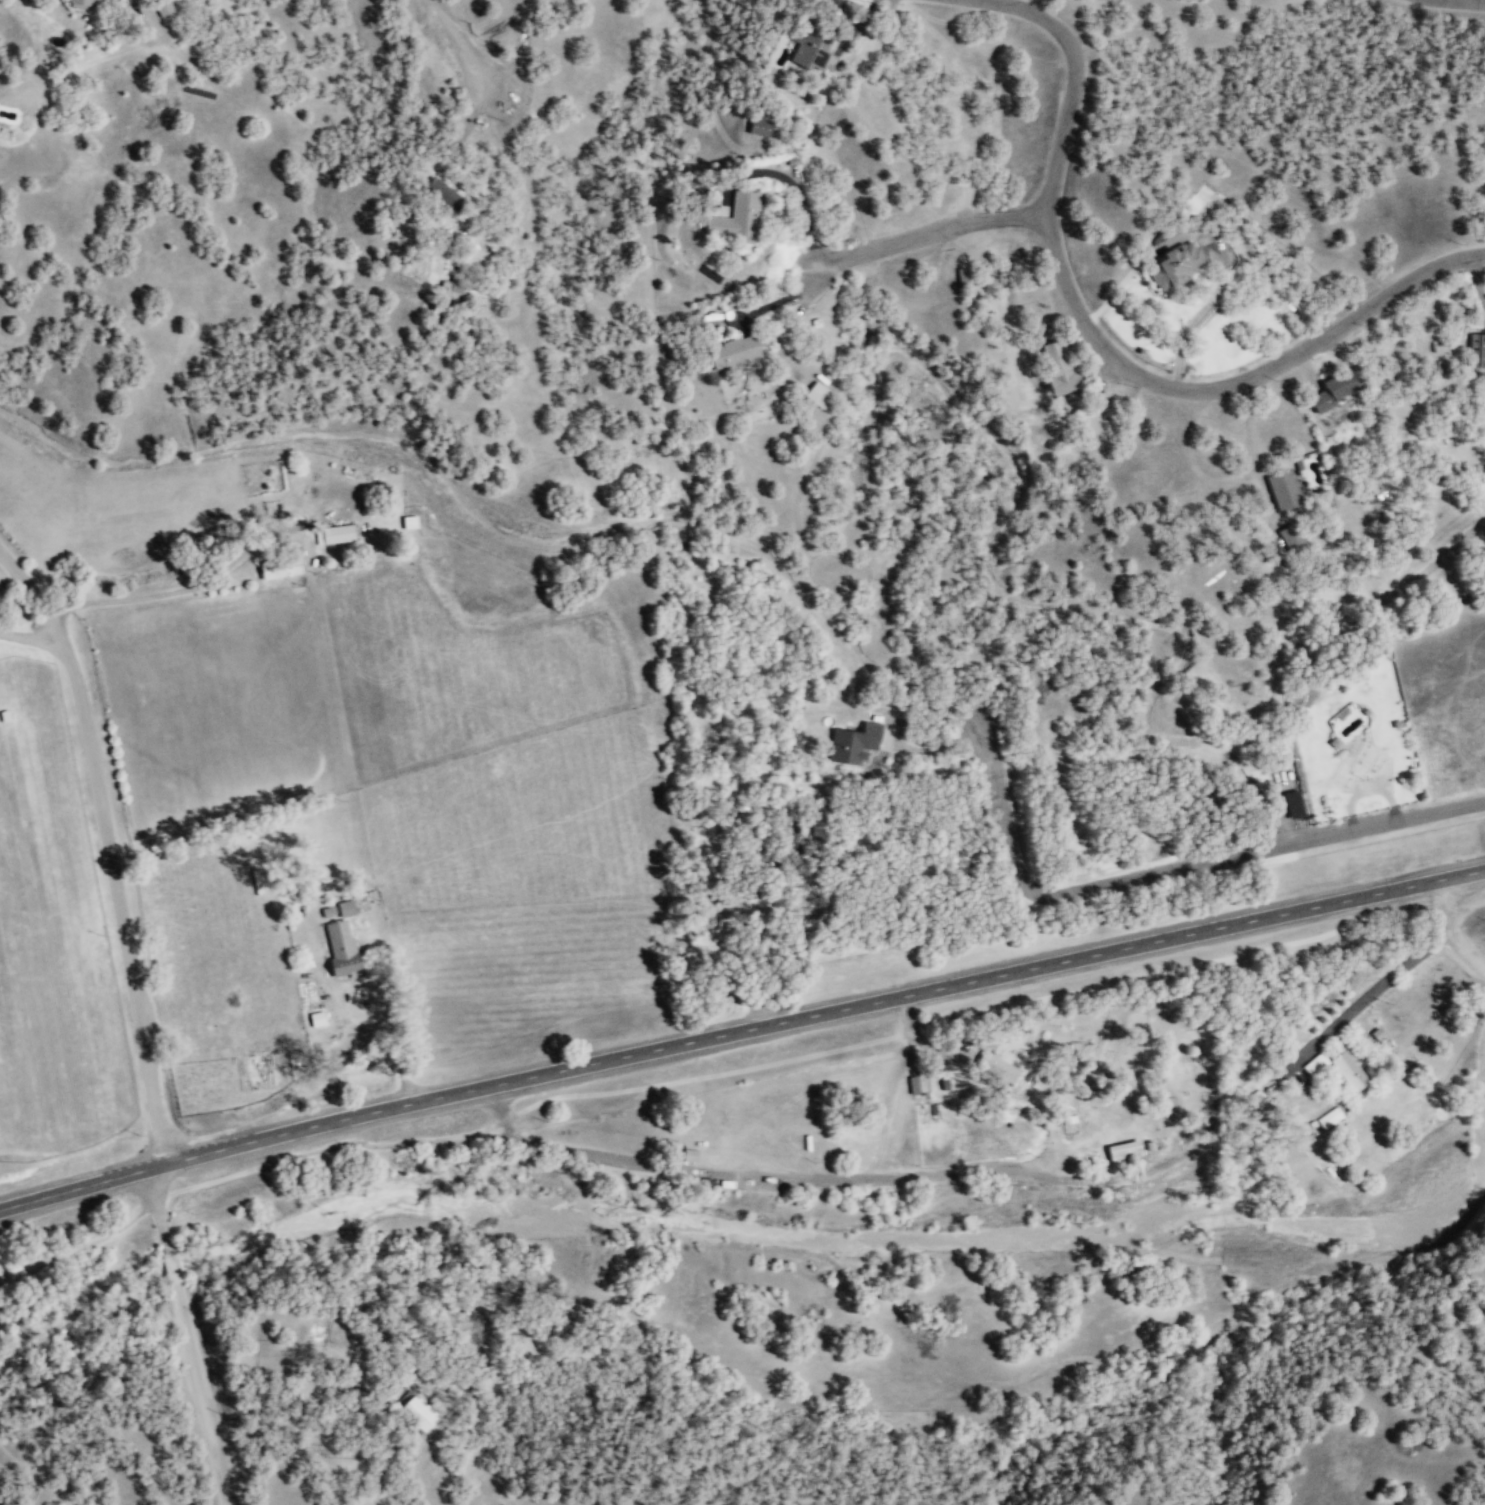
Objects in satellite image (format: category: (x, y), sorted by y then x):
road: (1470, 1)
building: (82, 5)
building: (165, 10)
road: (454, 37)
building: (814, 51)
road: (469, 123)
building: (762, 128)
road: (795, 187)
building: (444, 194)
building: (738, 217)
road: (934, 230)
building: (1221, 253)
building: (1181, 264)
building: (454, 289)
road: (776, 301)
road: (789, 325)
road: (1107, 343)
building: (1479, 347)
building: (735, 352)
building: (1062, 368)
building: (1335, 390)
building: (819, 393)
building: (1284, 489)
building: (410, 522)
building: (335, 534)
building: (1292, 538)
building: (279, 568)
road: (35, 637)
building: (855, 743)
road: (110, 847)
road: (1179, 872)
building: (346, 908)
building: (329, 911)
road: (1459, 925)
crop: (52, 939)
building: (342, 948)
road: (1373, 989)
building: (318, 1019)
road: (740, 1035)
building: (1317, 1064)
building: (998, 1067)
building: (1351, 1071)
building: (914, 1085)
building: (1330, 1117)
building: (1126, 1150)
building: (690, 1155)
river: (1105, 1227)
road: (198, 1336)
building: (416, 1410)

